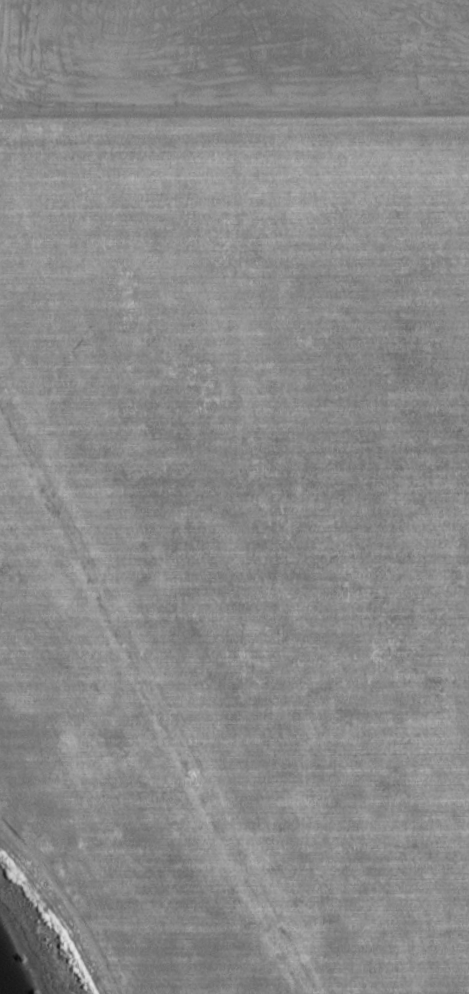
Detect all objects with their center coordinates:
road: (234, 119)

